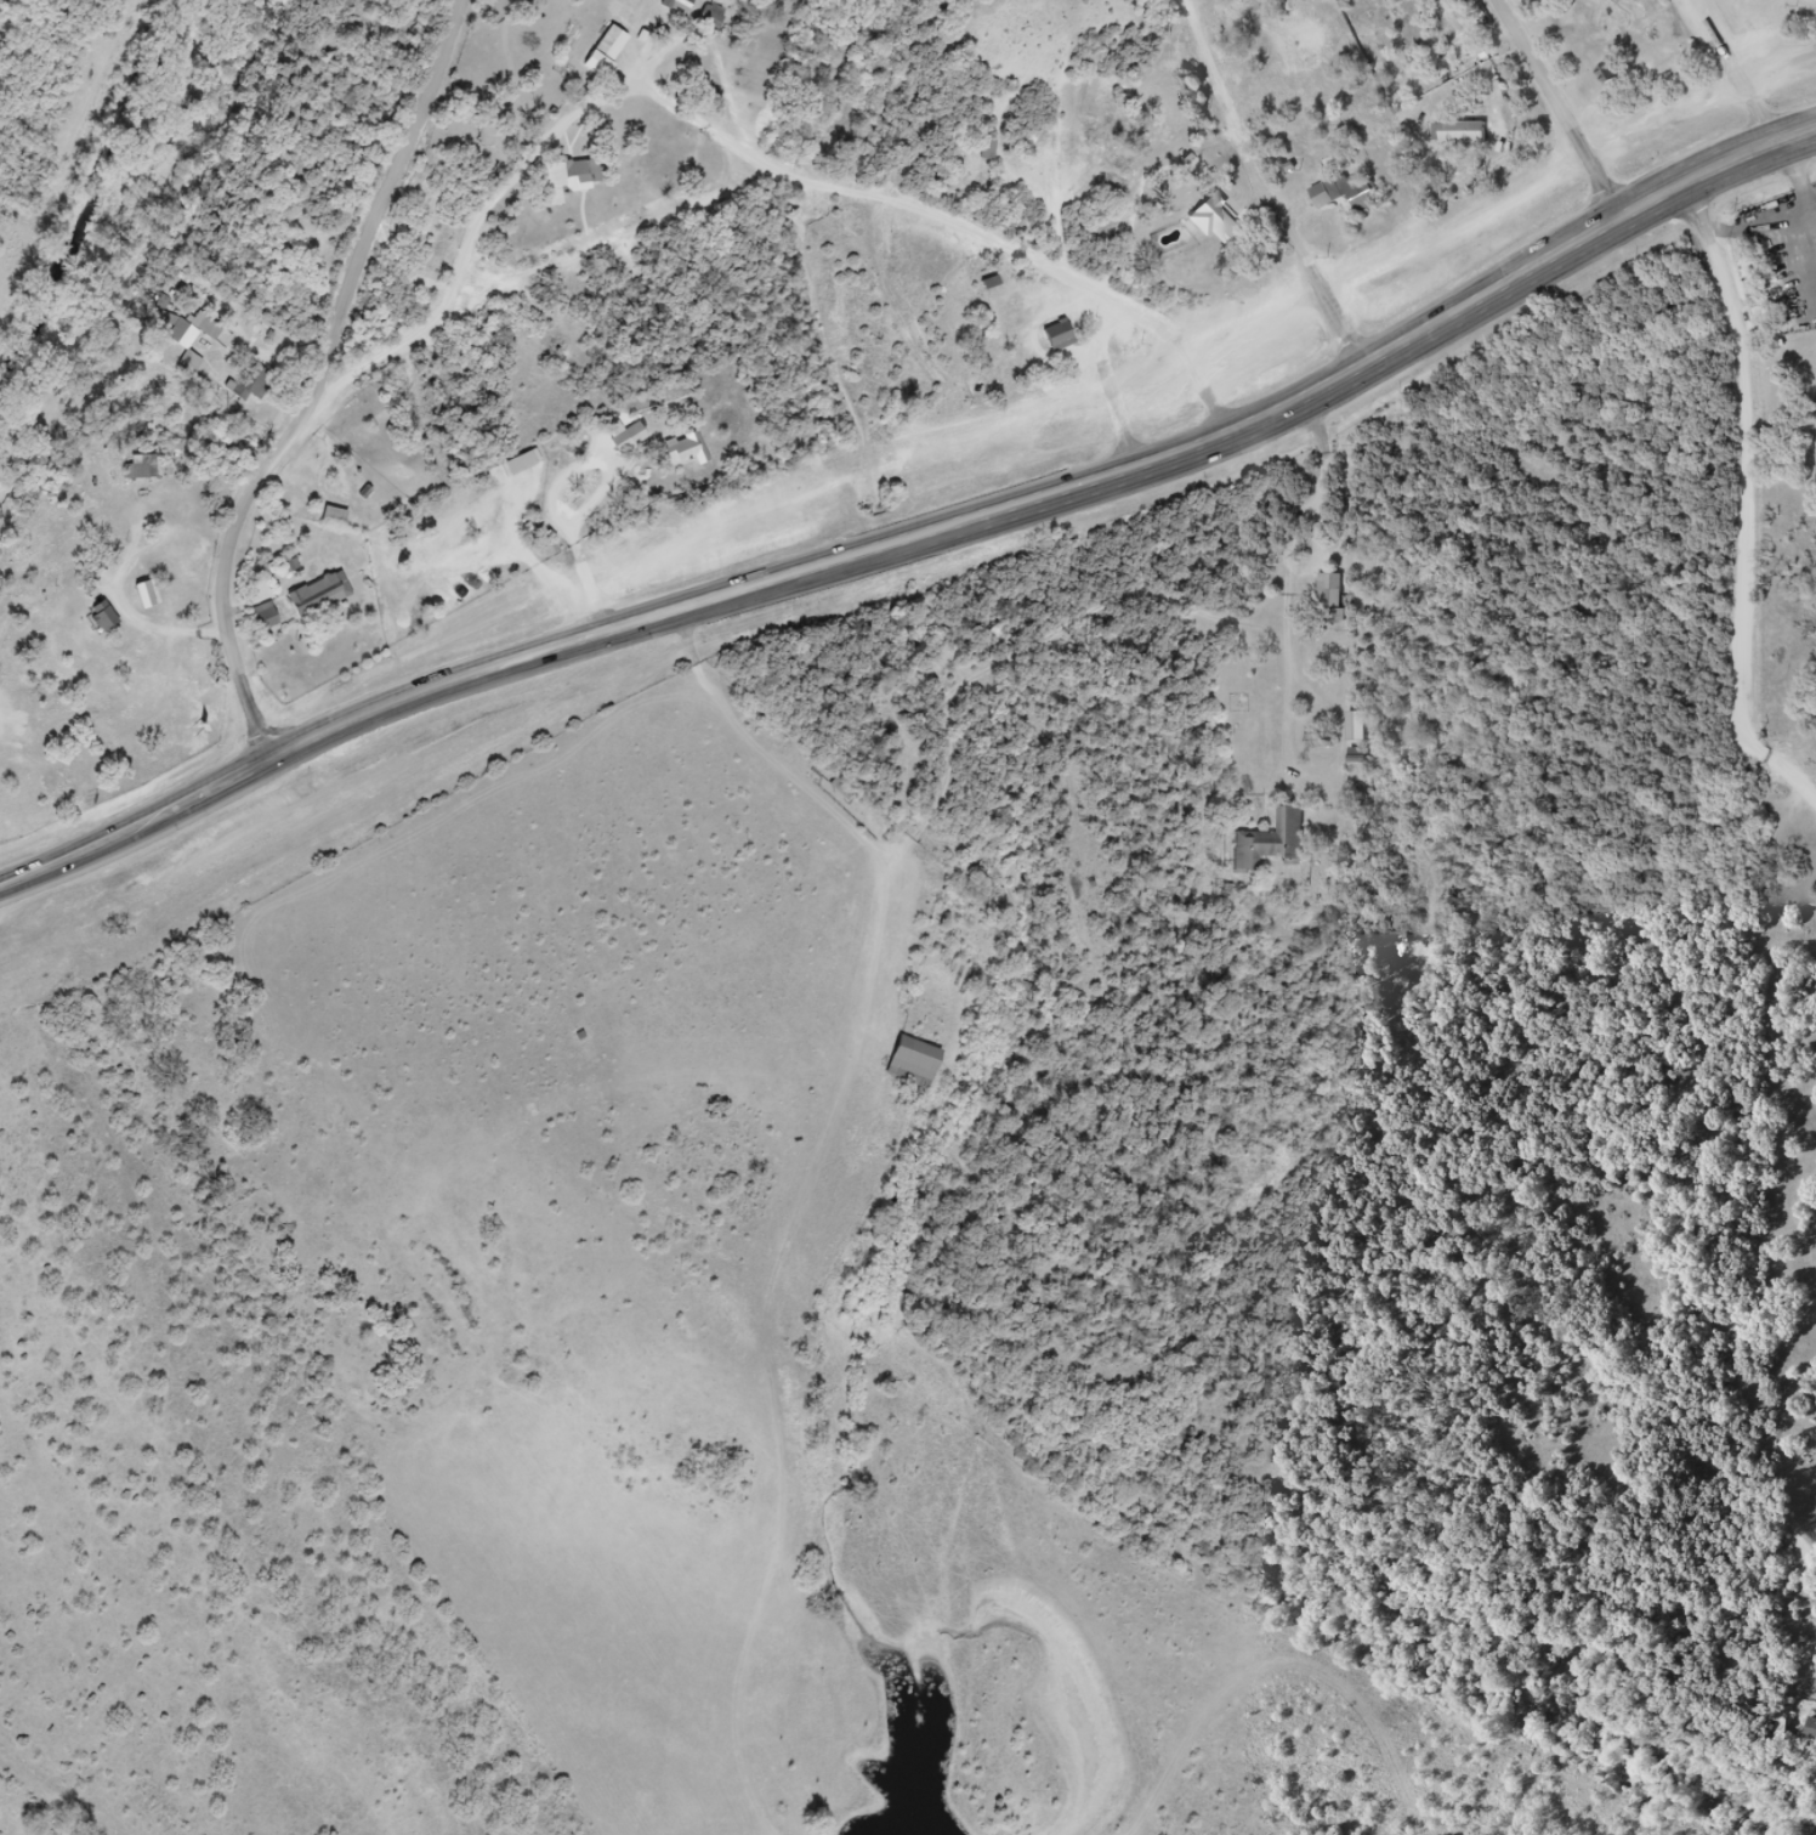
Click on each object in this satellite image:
building: (671, 6)
building: (714, 16)
building: (600, 53)
road: (1204, 66)
building: (1606, 74)
road: (1567, 108)
building: (1453, 132)
road: (738, 143)
building: (988, 151)
road: (1720, 169)
building: (579, 186)
building: (1330, 188)
building: (1207, 217)
road: (1296, 249)
building: (987, 282)
building: (1055, 336)
road: (325, 381)
building: (251, 383)
building: (624, 438)
building: (679, 452)
building: (517, 461)
building: (141, 468)
road: (1754, 494)
building: (329, 515)
road: (821, 568)
building: (314, 594)
building: (438, 597)
building: (1332, 599)
building: (107, 617)
building: (261, 617)
building: (1361, 726)
building: (1267, 846)
building: (916, 1063)
building: (1812, 1729)

